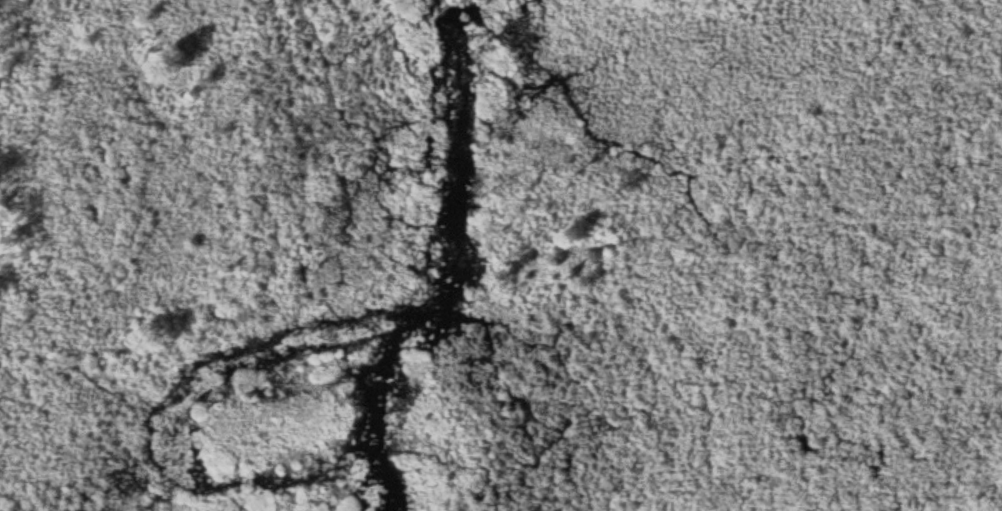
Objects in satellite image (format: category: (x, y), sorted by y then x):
river: (451, 261)

